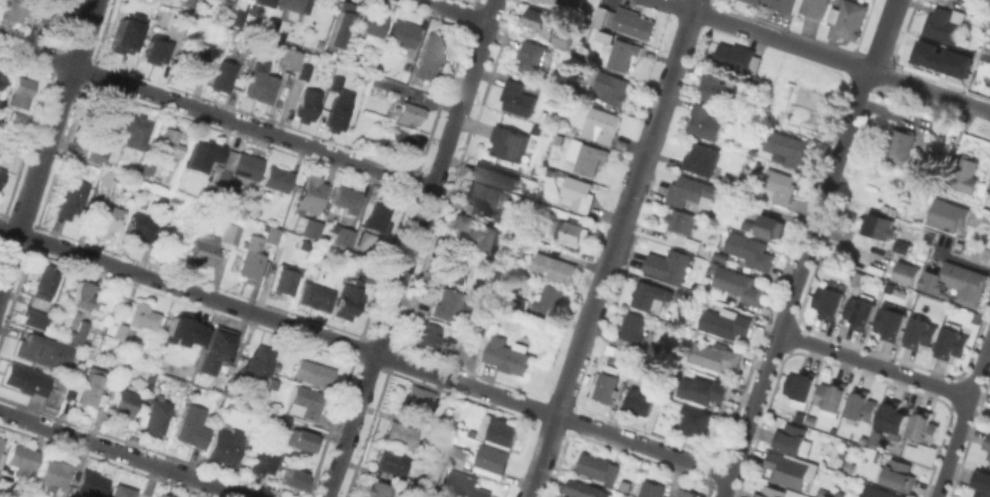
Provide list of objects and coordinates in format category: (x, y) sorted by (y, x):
building: (539, 0)
building: (562, 1)
building: (188, 2)
building: (260, 2)
building: (979, 2)
building: (291, 4)
road: (694, 5)
building: (773, 5)
building: (49, 10)
building: (816, 10)
building: (13, 11)
building: (240, 11)
road: (455, 11)
road: (892, 12)
building: (602, 13)
building: (844, 18)
building: (540, 19)
road: (585, 22)
building: (632, 22)
building: (368, 23)
building: (944, 23)
building: (274, 24)
building: (341, 25)
building: (123, 34)
building: (404, 35)
building: (563, 37)
building: (156, 46)
road: (879, 48)
building: (623, 53)
building: (531, 56)
building: (735, 56)
road: (826, 56)
building: (198, 57)
building: (289, 57)
building: (431, 57)
building: (940, 57)
building: (304, 71)
building: (0, 72)
building: (224, 75)
building: (3, 80)
building: (337, 83)
building: (262, 86)
building: (711, 86)
building: (610, 88)
building: (989, 90)
building: (21, 91)
building: (518, 96)
building: (809, 98)
building: (308, 105)
building: (409, 112)
building: (338, 113)
road: (216, 116)
building: (21, 117)
building: (704, 122)
building: (383, 124)
building: (601, 124)
building: (808, 127)
building: (135, 130)
road: (845, 131)
building: (166, 138)
road: (48, 140)
building: (401, 141)
building: (509, 141)
building: (899, 145)
building: (786, 147)
building: (94, 151)
building: (205, 154)
building: (586, 155)
building: (701, 158)
building: (243, 164)
building: (2, 174)
building: (502, 175)
building: (967, 175)
building: (105, 177)
building: (278, 178)
building: (726, 178)
building: (780, 184)
building: (690, 190)
building: (310, 193)
building: (484, 193)
building: (577, 193)
building: (70, 197)
building: (349, 198)
building: (216, 199)
building: (162, 203)
building: (473, 208)
road: (625, 212)
building: (948, 214)
building: (105, 217)
building: (680, 220)
building: (376, 224)
building: (747, 225)
building: (771, 225)
building: (142, 226)
building: (879, 226)
building: (311, 227)
building: (475, 230)
building: (573, 232)
building: (272, 234)
building: (345, 236)
building: (902, 246)
building: (204, 248)
road: (412, 248)
building: (705, 249)
building: (751, 251)
building: (251, 259)
building: (668, 264)
building: (552, 267)
building: (455, 268)
building: (901, 270)
building: (284, 279)
building: (43, 280)
building: (959, 282)
building: (739, 285)
building: (480, 287)
building: (81, 293)
building: (683, 293)
building: (317, 296)
building: (647, 296)
building: (549, 299)
building: (348, 301)
building: (37, 302)
building: (829, 302)
building: (453, 303)
building: (860, 314)
building: (144, 315)
building: (30, 318)
building: (978, 318)
building: (723, 323)
building: (892, 324)
road: (488, 326)
building: (633, 327)
building: (121, 331)
building: (182, 331)
building: (78, 333)
building: (426, 334)
building: (922, 334)
building: (953, 343)
road: (774, 345)
building: (655, 348)
building: (216, 349)
road: (365, 349)
building: (42, 351)
building: (509, 355)
building: (711, 356)
building: (258, 364)
road: (875, 364)
building: (118, 365)
building: (314, 372)
building: (27, 379)
building: (801, 384)
building: (73, 385)
building: (607, 386)
building: (91, 387)
building: (700, 388)
building: (832, 395)
building: (419, 397)
building: (122, 401)
building: (307, 401)
building: (639, 401)
building: (863, 406)
building: (153, 416)
building: (893, 417)
building: (692, 418)
road: (963, 418)
building: (276, 419)
building: (193, 426)
building: (924, 426)
building: (499, 430)
building: (400, 434)
building: (791, 438)
building: (303, 439)
building: (875, 439)
building: (1, 442)
building: (988, 442)
building: (421, 444)
building: (226, 445)
road: (123, 455)
road: (543, 456)
building: (989, 456)
building: (461, 457)
building: (492, 457)
building: (2, 458)
building: (391, 461)
building: (24, 462)
building: (259, 462)
road: (438, 466)
building: (597, 468)
building: (788, 470)
building: (56, 471)
building: (900, 475)
building: (294, 480)
building: (92, 483)
building: (463, 483)
building: (982, 483)
building: (626, 484)
building: (378, 489)
building: (586, 489)
building: (648, 489)
building: (123, 492)
building: (771, 492)
building: (684, 493)
building: (879, 493)
building: (162, 495)
building: (566, 496)

